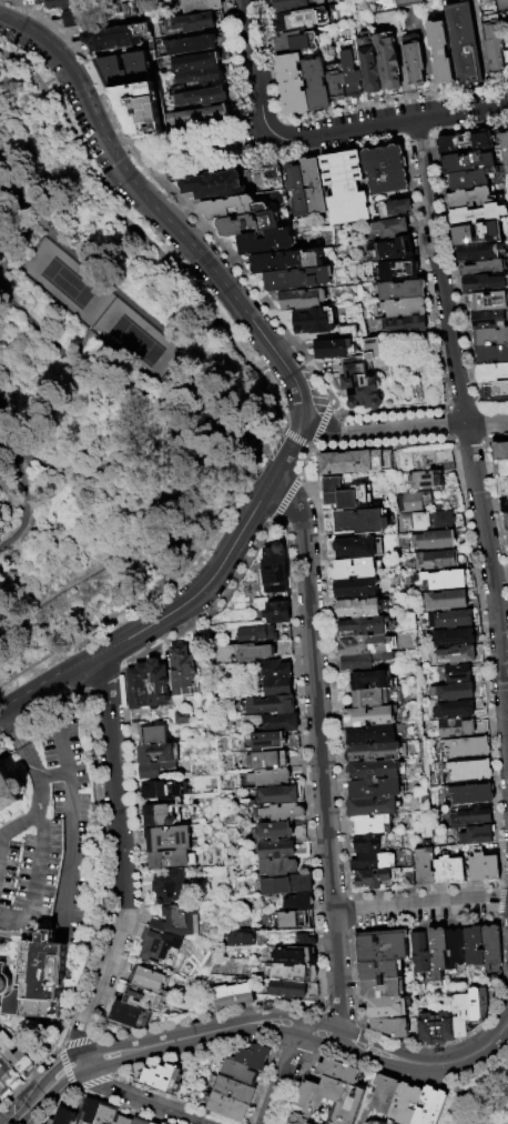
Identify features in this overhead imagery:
building: (61, 3)
building: (296, 3)
building: (409, 3)
building: (197, 4)
building: (500, 4)
building: (382, 6)
building: (123, 8)
building: (68, 16)
building: (304, 19)
building: (192, 23)
building: (119, 38)
building: (296, 42)
building: (464, 43)
building: (492, 43)
building: (194, 46)
building: (440, 53)
road: (83, 56)
road: (267, 60)
building: (506, 60)
building: (388, 61)
building: (197, 62)
road: (233, 62)
building: (415, 63)
building: (368, 64)
road: (24, 67)
road: (254, 69)
building: (131, 70)
road: (73, 73)
building: (350, 76)
building: (201, 77)
building: (336, 81)
road: (22, 82)
building: (292, 83)
building: (316, 84)
building: (177, 91)
building: (202, 98)
road: (396, 103)
building: (143, 109)
building: (199, 117)
road: (281, 121)
road: (387, 122)
road: (261, 123)
road: (467, 128)
road: (8, 133)
road: (190, 133)
road: (415, 136)
road: (285, 137)
road: (70, 138)
road: (131, 142)
building: (464, 143)
road: (240, 144)
park: (193, 150)
road: (323, 150)
building: (504, 151)
road: (288, 153)
road: (141, 162)
building: (467, 163)
road: (120, 167)
building: (383, 168)
road: (44, 172)
road: (162, 178)
building: (468, 180)
building: (210, 183)
building: (309, 185)
building: (342, 185)
building: (293, 190)
building: (468, 199)
building: (228, 205)
building: (390, 208)
building: (476, 217)
building: (245, 222)
building: (388, 225)
building: (488, 233)
road: (184, 235)
building: (266, 241)
building: (390, 247)
road: (201, 250)
building: (479, 253)
building: (287, 260)
road: (94, 264)
building: (395, 268)
road: (453, 268)
building: (487, 269)
road: (439, 272)
road: (423, 274)
building: (298, 279)
park: (67, 283)
building: (485, 284)
road: (252, 285)
building: (399, 289)
building: (304, 299)
building: (488, 302)
building: (402, 308)
building: (316, 321)
building: (489, 321)
building: (402, 324)
building: (348, 332)
road: (83, 335)
building: (490, 338)
park: (135, 340)
building: (336, 349)
road: (200, 350)
road: (282, 357)
building: (492, 357)
road: (250, 365)
building: (491, 373)
building: (362, 378)
road: (103, 379)
building: (495, 392)
park: (104, 399)
road: (461, 404)
road: (491, 404)
road: (246, 411)
road: (383, 412)
road: (322, 421)
road: (260, 425)
road: (241, 426)
road: (405, 428)
road: (293, 438)
road: (306, 448)
road: (116, 449)
building: (500, 452)
road: (278, 454)
road: (305, 460)
building: (356, 462)
road: (191, 466)
fountain: (308, 469)
building: (500, 470)
building: (427, 480)
building: (502, 488)
building: (346, 494)
road: (286, 496)
building: (412, 502)
road: (34, 505)
building: (505, 505)
building: (434, 520)
road: (281, 521)
building: (363, 521)
building: (507, 522)
building: (436, 540)
building: (357, 548)
road: (106, 559)
building: (440, 560)
building: (273, 568)
building: (356, 569)
building: (445, 580)
road: (17, 581)
road: (209, 586)
road: (492, 586)
building: (357, 589)
building: (447, 600)
building: (360, 608)
road: (213, 610)
road: (12, 612)
building: (275, 612)
building: (454, 619)
road: (92, 625)
building: (365, 628)
building: (264, 634)
building: (456, 638)
building: (364, 645)
building: (250, 652)
road: (98, 655)
building: (456, 655)
road: (119, 664)
building: (362, 664)
road: (81, 668)
building: (274, 669)
road: (120, 671)
building: (184, 672)
building: (458, 673)
road: (104, 680)
building: (372, 680)
building: (158, 683)
road: (54, 684)
building: (277, 685)
building: (139, 686)
road: (85, 690)
road: (90, 691)
building: (454, 692)
building: (389, 694)
building: (372, 699)
building: (268, 704)
building: (457, 710)
building: (183, 716)
building: (370, 716)
building: (278, 722)
building: (457, 727)
building: (154, 734)
building: (373, 734)
building: (263, 740)
building: (469, 746)
road: (24, 749)
road: (63, 751)
building: (375, 752)
building: (155, 753)
road: (321, 756)
building: (267, 760)
building: (150, 771)
road: (304, 771)
building: (375, 771)
building: (470, 771)
road: (51, 773)
building: (270, 777)
building: (163, 789)
building: (376, 789)
building: (10, 791)
road: (42, 794)
building: (473, 794)
building: (276, 795)
building: (374, 806)
building: (283, 812)
building: (159, 815)
building: (473, 815)
road: (21, 821)
parking lot: (69, 821)
building: (374, 825)
building: (274, 831)
building: (477, 835)
building: (170, 839)
road: (0, 841)
building: (369, 844)
building: (277, 849)
road: (69, 852)
road: (35, 860)
building: (172, 860)
road: (124, 861)
road: (101, 862)
building: (374, 862)
building: (277, 866)
building: (426, 866)
building: (485, 867)
building: (450, 871)
parking lot: (29, 872)
building: (375, 879)
building: (284, 885)
building: (172, 886)
building: (296, 902)
road: (420, 907)
building: (292, 920)
building: (181, 922)
road: (16, 923)
building: (302, 940)
building: (245, 941)
building: (378, 945)
building: (474, 947)
building: (161, 949)
building: (437, 950)
building: (455, 950)
building: (491, 950)
building: (419, 954)
building: (293, 955)
building: (378, 970)
road: (118, 971)
building: (38, 973)
building: (291, 973)
building: (144, 979)
building: (3, 980)
building: (379, 987)
building: (291, 988)
road: (75, 991)
building: (230, 994)
building: (139, 997)
building: (10, 1003)
building: (475, 1005)
building: (384, 1006)
building: (128, 1014)
building: (458, 1014)
building: (388, 1026)
building: (433, 1027)
road: (90, 1038)
road: (73, 1042)
road: (152, 1043)
building: (14, 1056)
building: (254, 1057)
road: (417, 1064)
road: (485, 1066)
road: (65, 1068)
building: (336, 1071)
building: (240, 1073)
road: (284, 1073)
building: (8, 1074)
building: (163, 1078)
road: (92, 1082)
building: (1, 1088)
building: (234, 1091)
building: (385, 1095)
road: (138, 1098)
building: (344, 1100)
building: (406, 1104)
building: (226, 1107)
building: (430, 1107)
building: (91, 1110)
building: (106, 1114)
building: (65, 1116)
road: (491, 1120)
building: (123, 1121)
building: (139, 1121)
building: (152, 1123)
building: (162, 1123)

